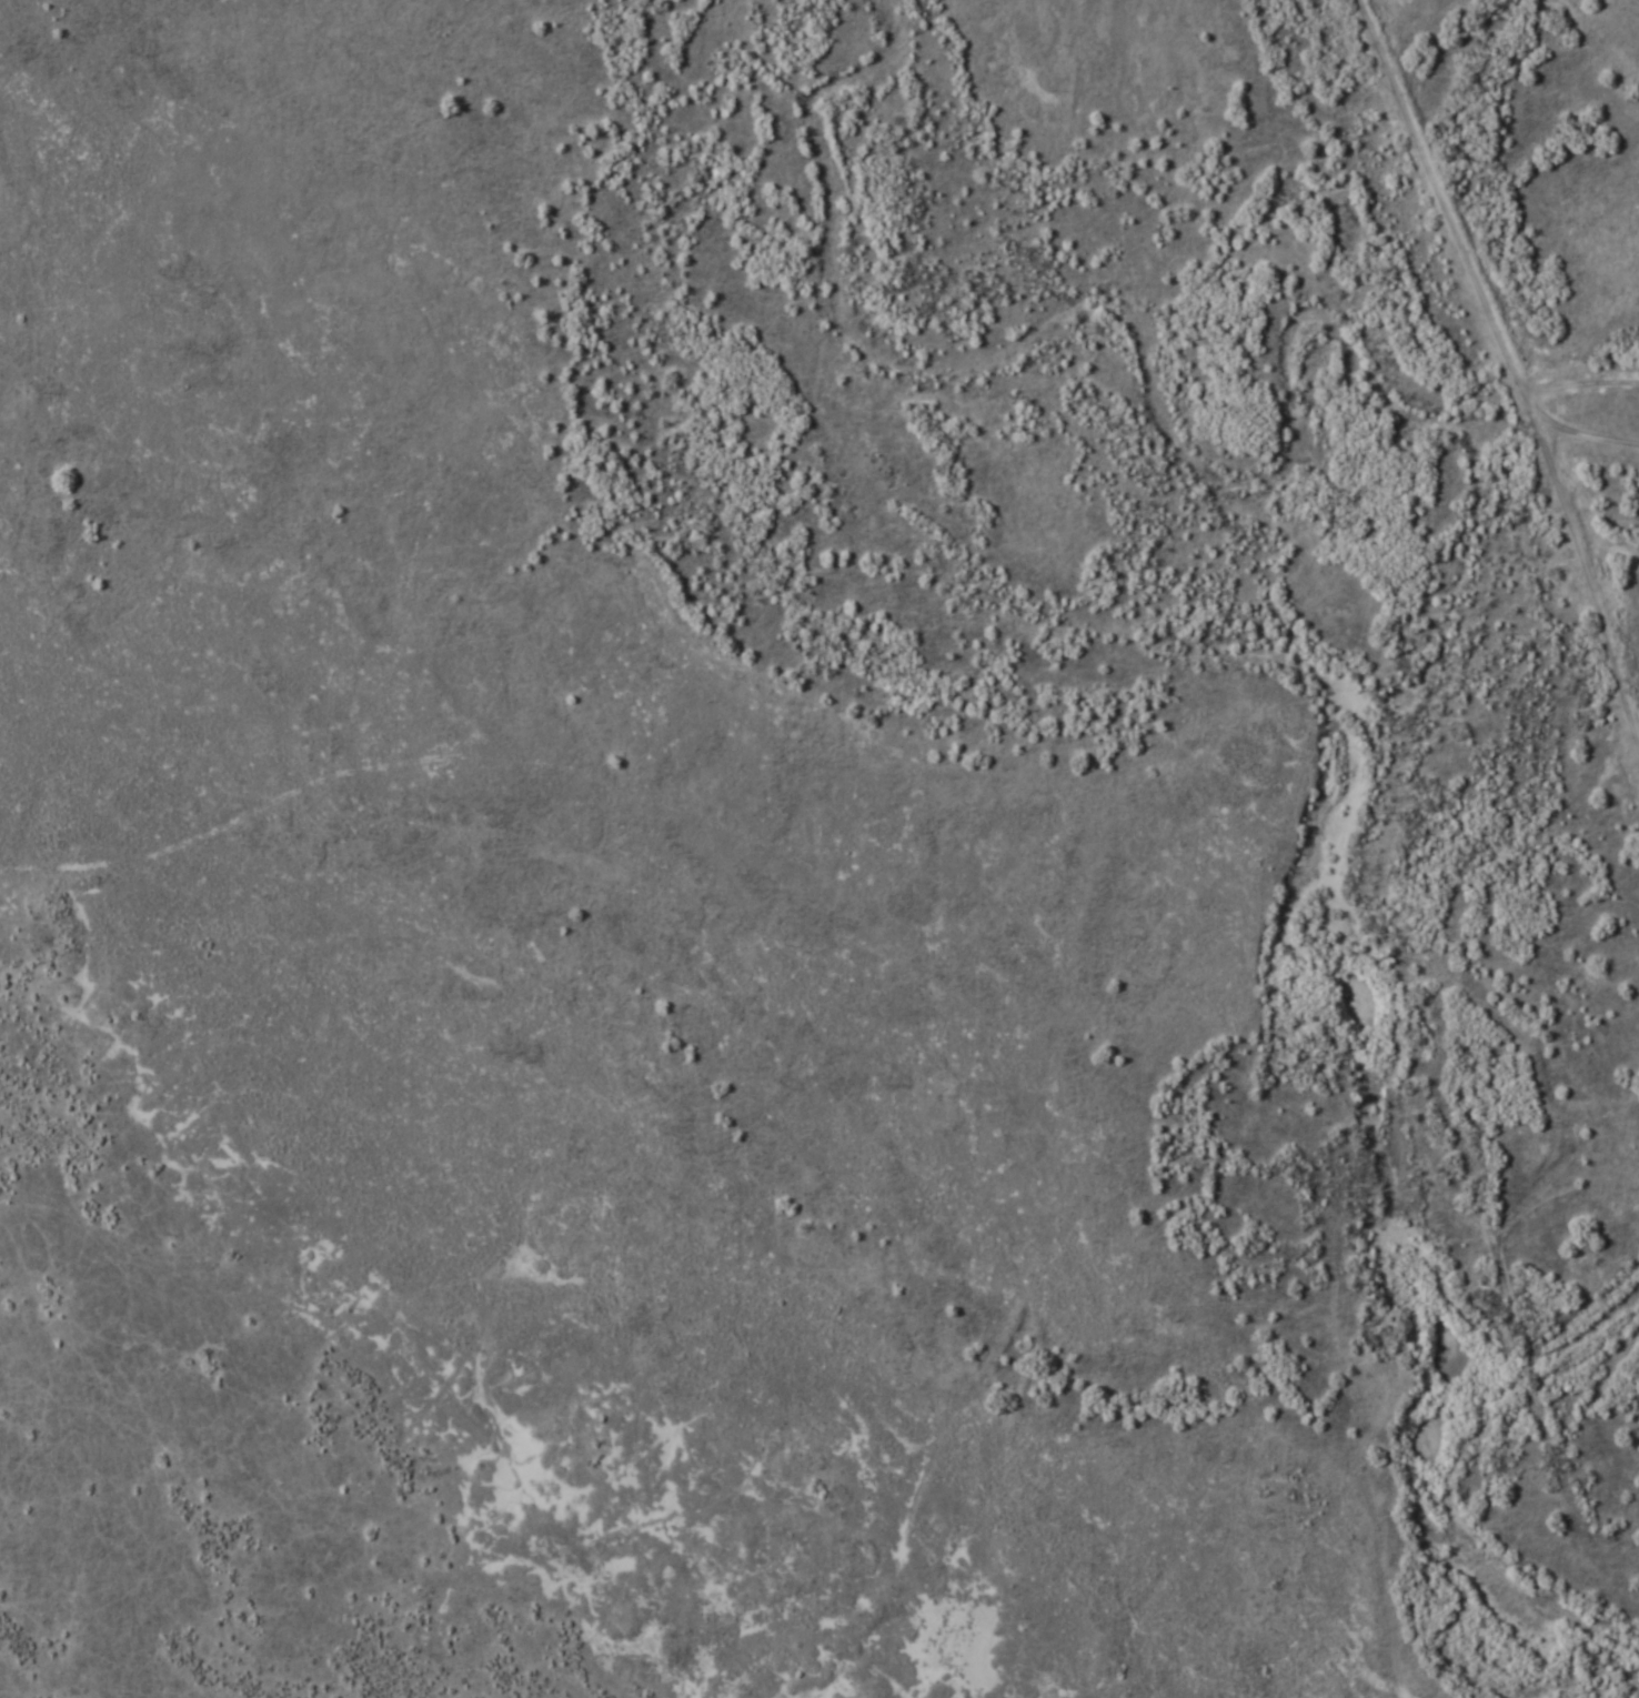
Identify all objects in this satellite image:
road: (1603, 100)

